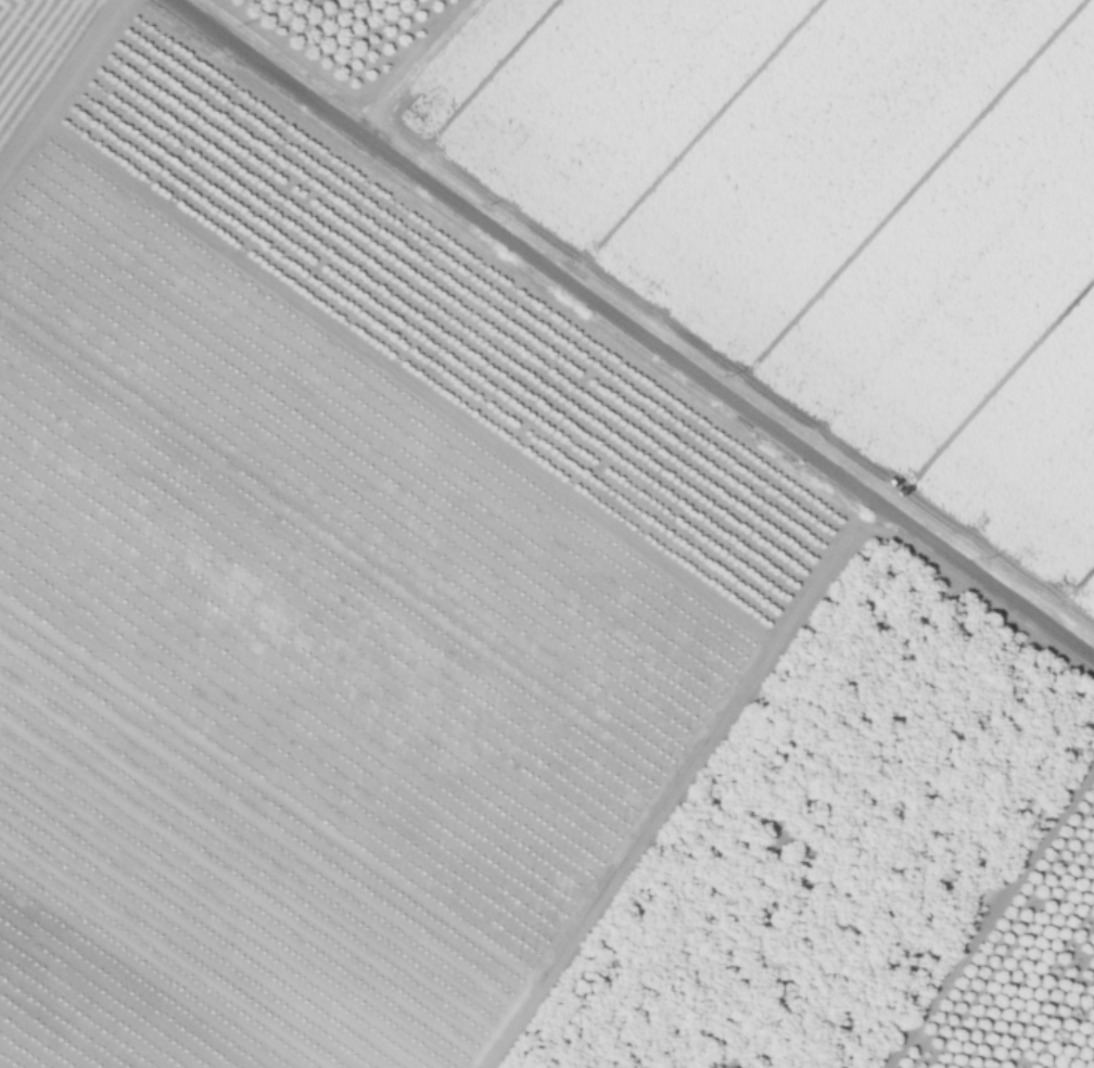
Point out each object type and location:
road: (633, 328)
crop: (476, 469)

